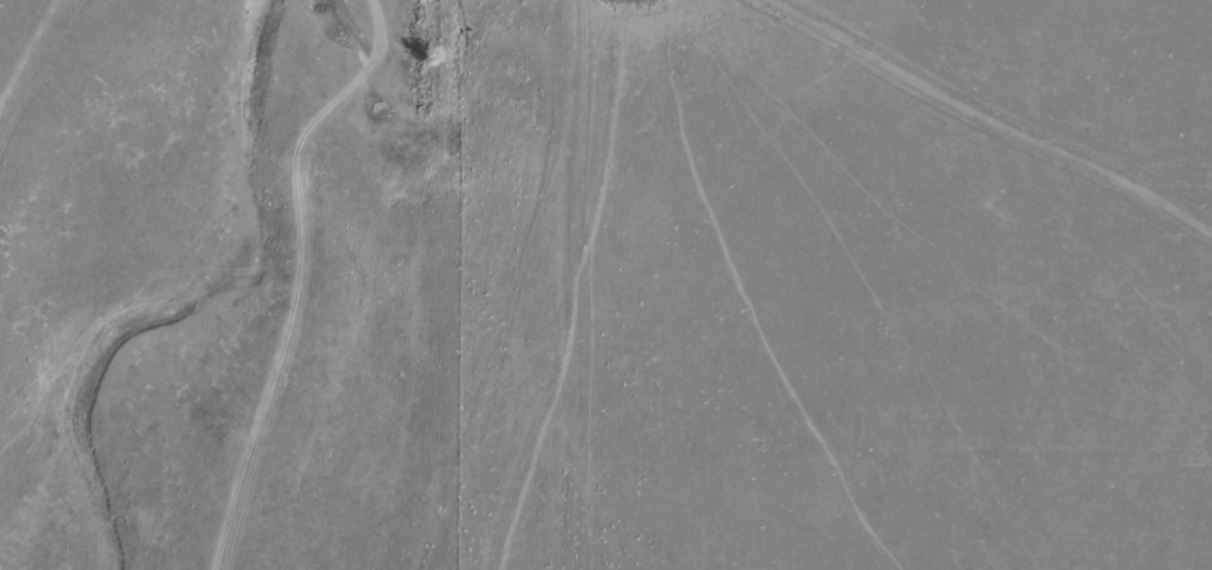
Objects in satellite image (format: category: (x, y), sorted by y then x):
road: (59, 119)

